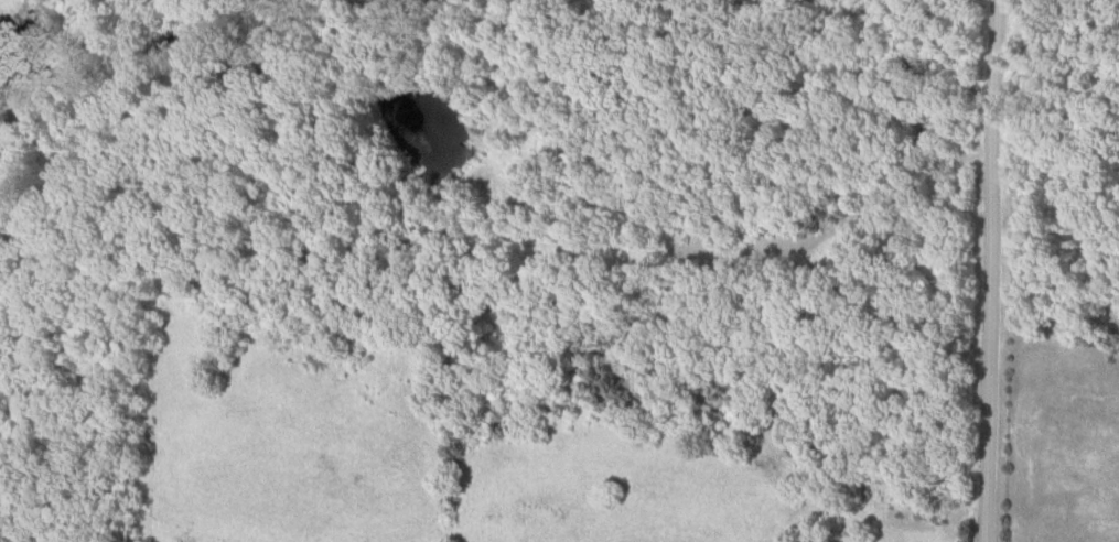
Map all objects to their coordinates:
road: (994, 270)

